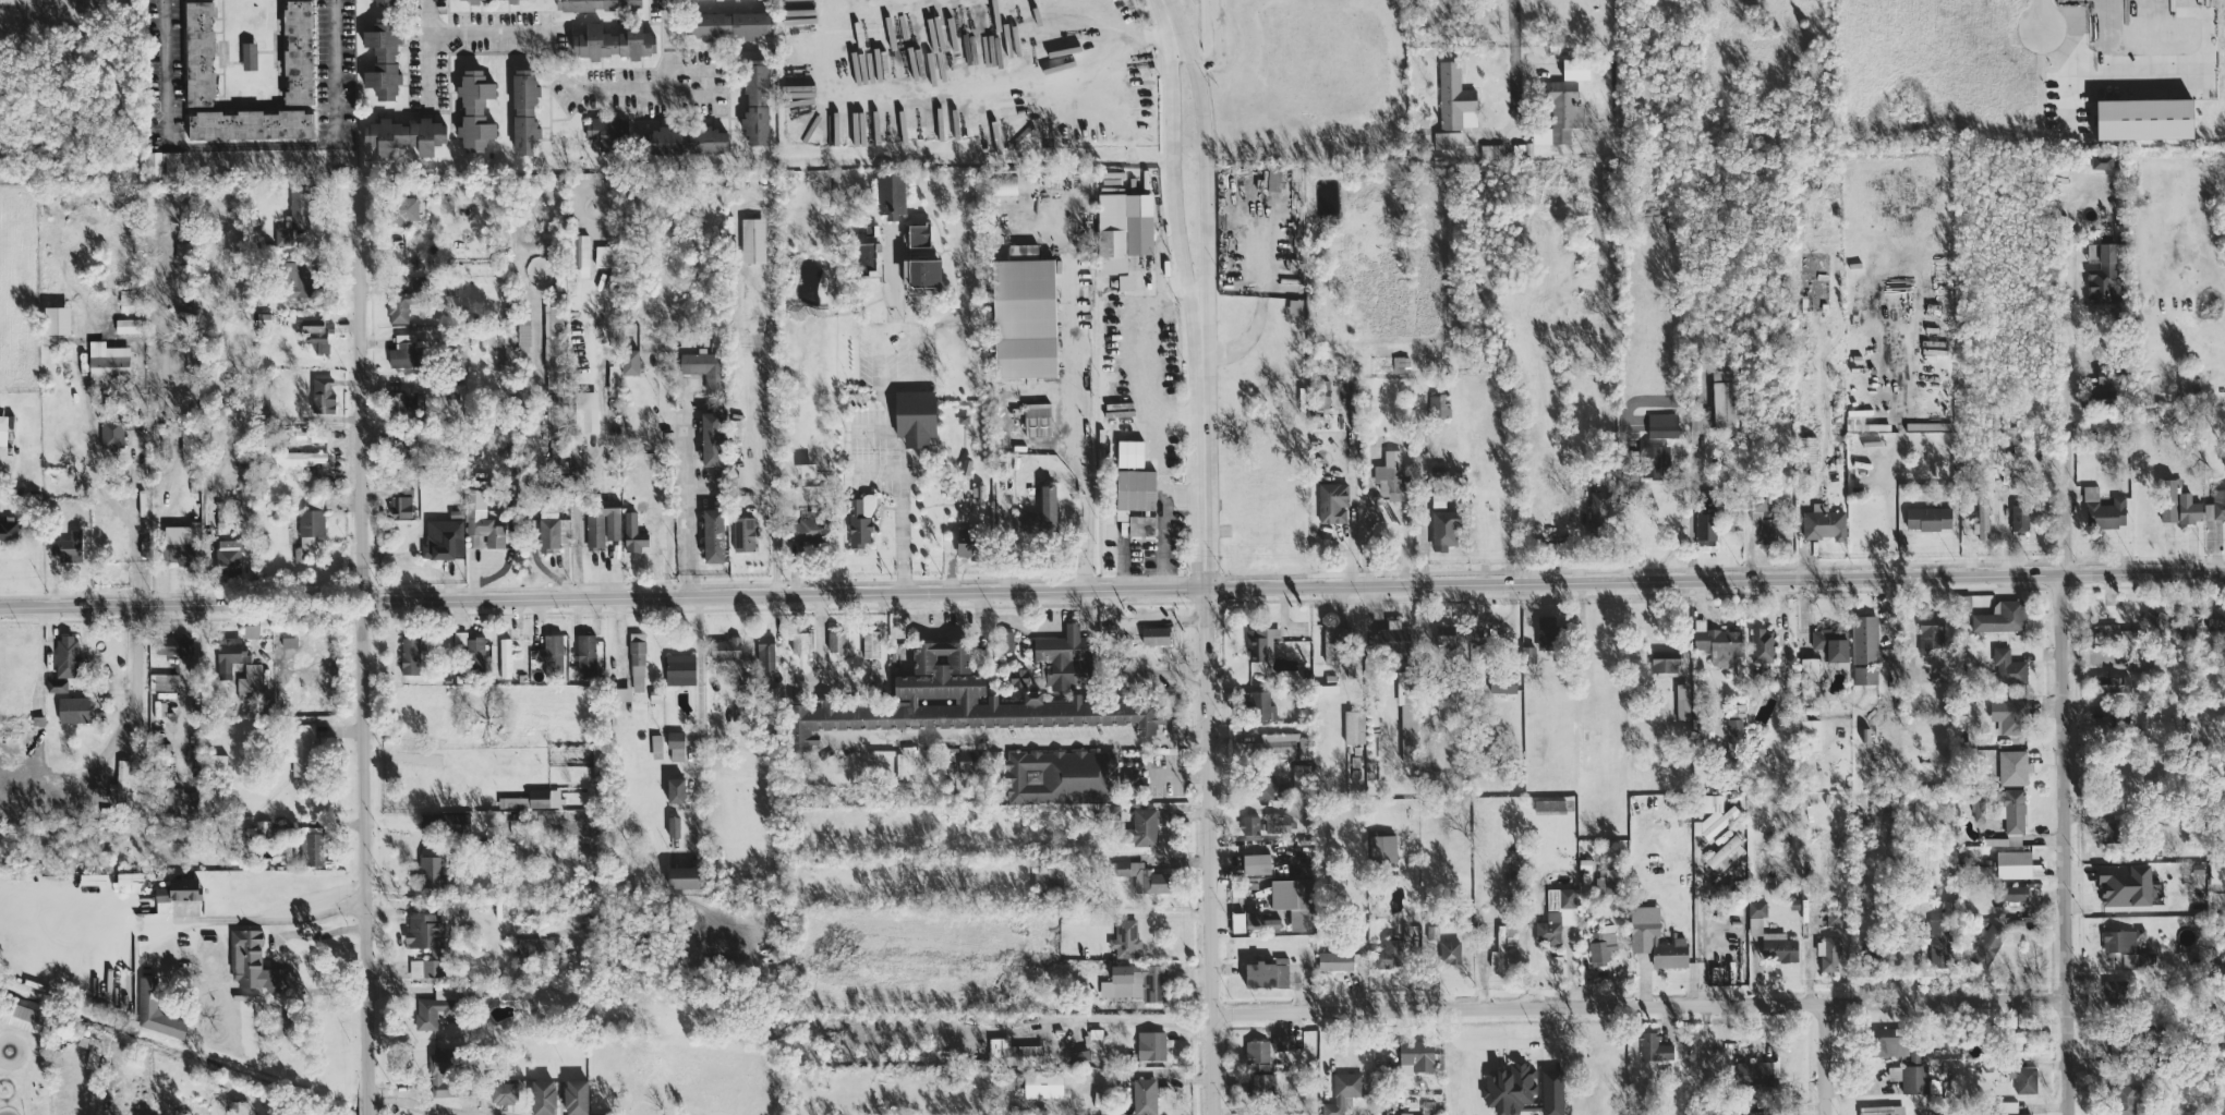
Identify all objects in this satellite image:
building: (485, 0)
building: (383, 2)
road: (1168, 12)
road: (2040, 14)
road: (436, 17)
building: (729, 24)
road: (1124, 35)
building: (612, 41)
road: (673, 48)
building: (297, 51)
building: (198, 53)
building: (249, 56)
road: (561, 58)
building: (382, 59)
road: (1515, 62)
road: (346, 70)
building: (1455, 98)
building: (754, 101)
building: (474, 110)
building: (523, 111)
building: (2144, 119)
building: (250, 124)
building: (608, 130)
building: (403, 135)
building: (1447, 140)
building: (685, 141)
road: (186, 146)
building: (1522, 149)
building: (1490, 152)
building: (2102, 160)
building: (162, 162)
road: (1202, 182)
road: (1169, 186)
building: (890, 193)
building: (402, 206)
building: (297, 210)
building: (1121, 232)
building: (918, 233)
building: (752, 239)
building: (183, 251)
building: (580, 252)
building: (603, 254)
building: (2103, 266)
building: (923, 270)
building: (301, 278)
building: (1125, 280)
building: (125, 299)
road: (1261, 299)
building: (1295, 305)
building: (397, 307)
building: (1024, 313)
building: (56, 318)
building: (125, 324)
road: (906, 327)
building: (316, 331)
building: (552, 337)
building: (407, 350)
building: (107, 357)
building: (629, 360)
building: (1401, 365)
building: (704, 367)
building: (2106, 374)
building: (2190, 384)
road: (1050, 387)
building: (2103, 390)
building: (1025, 392)
building: (1322, 392)
building: (322, 393)
road: (1138, 397)
building: (1725, 397)
building: (404, 400)
building: (1437, 402)
road: (118, 410)
building: (585, 411)
building: (915, 415)
building: (1037, 421)
building: (1930, 425)
building: (2, 428)
building: (1661, 428)
building: (114, 429)
road: (1062, 433)
building: (711, 436)
road: (1088, 445)
road: (99, 446)
building: (1806, 447)
building: (1129, 451)
building: (300, 457)
building: (1652, 461)
building: (1391, 474)
road: (1627, 474)
road: (902, 485)
building: (1134, 490)
road: (694, 494)
road: (1692, 494)
building: (2169, 498)
building: (400, 500)
building: (1332, 501)
building: (1048, 502)
building: (2215, 505)
building: (2189, 508)
building: (2103, 509)
building: (1597, 510)
building: (1766, 514)
road: (1371, 516)
building: (2019, 516)
building: (1928, 518)
building: (1983, 518)
road: (138, 519)
building: (481, 521)
building: (1030, 521)
building: (1824, 522)
road: (1896, 522)
building: (601, 523)
building: (859, 523)
building: (1141, 524)
building: (8, 526)
building: (548, 528)
building: (806, 528)
building: (1706, 528)
building: (1443, 529)
building: (191, 530)
building: (307, 530)
building: (632, 532)
building: (742, 532)
building: (712, 533)
building: (440, 536)
building: (966, 541)
building: (68, 545)
building: (178, 549)
building: (227, 555)
road: (1112, 587)
building: (2002, 616)
building: (2216, 617)
building: (2157, 623)
road: (940, 625)
road: (1053, 628)
building: (1547, 631)
building: (2105, 631)
building: (1446, 632)
building: (1931, 633)
building: (1154, 634)
building: (1864, 638)
building: (1008, 639)
building: (835, 640)
building: (801, 641)
building: (1330, 641)
building: (870, 642)
building: (1718, 642)
building: (1831, 642)
building: (171, 643)
building: (1762, 643)
road: (2064, 643)
road: (361, 645)
road: (818, 646)
building: (1260, 646)
building: (724, 647)
building: (551, 650)
building: (474, 651)
building: (585, 651)
building: (764, 651)
building: (1527, 653)
building: (66, 654)
building: (228, 654)
building: (409, 654)
building: (1064, 655)
building: (505, 656)
building: (1665, 659)
building: (637, 660)
building: (2008, 667)
road: (135, 668)
building: (679, 668)
building: (1865, 674)
building: (1018, 677)
building: (249, 679)
building: (1810, 679)
building: (162, 680)
building: (1502, 681)
building: (2114, 682)
building: (55, 683)
building: (1682, 700)
building: (958, 702)
building: (1259, 703)
building: (73, 708)
building: (1407, 713)
building: (2008, 715)
road: (699, 719)
building: (1354, 726)
road: (1207, 730)
building: (1733, 732)
building: (1811, 734)
building: (1283, 742)
building: (676, 744)
building: (656, 746)
building: (301, 749)
building: (966, 759)
building: (216, 761)
building: (2012, 766)
building: (1060, 775)
building: (119, 783)
building: (1262, 785)
building: (675, 789)
building: (180, 797)
building: (544, 797)
building: (512, 801)
building: (1549, 804)
building: (1714, 814)
building: (1249, 823)
building: (1279, 823)
building: (673, 825)
building: (1144, 826)
building: (1382, 847)
building: (311, 848)
building: (1726, 853)
building: (1256, 862)
building: (2014, 863)
building: (430, 870)
building: (2217, 871)
building: (682, 875)
building: (1145, 876)
building: (1039, 878)
building: (2125, 883)
building: (179, 888)
building: (2014, 892)
building: (1292, 900)
building: (1557, 913)
building: (1756, 916)
building: (1834, 917)
building: (1237, 921)
road: (263, 923)
road: (1700, 923)
building: (2017, 923)
building: (421, 930)
building: (1125, 937)
building: (1655, 937)
building: (2121, 938)
building: (1601, 943)
building: (1938, 943)
building: (1987, 945)
building: (1778, 946)
building: (540, 948)
building: (1499, 948)
building: (1450, 950)
building: (1828, 953)
building: (1388, 954)
building: (1335, 960)
building: (252, 961)
building: (424, 967)
building: (1266, 973)
building: (1136, 981)
road: (1641, 1003)
building: (435, 1006)
building: (154, 1008)
building: (1887, 1041)
building: (1280, 1042)
building: (1151, 1044)
building: (1654, 1046)
building: (1257, 1050)
river: (184, 1051)
building: (1416, 1055)
road: (1822, 1056)
building: (442, 1059)
building: (1753, 1071)
building: (1911, 1072)
building: (2023, 1078)
building: (1262, 1081)
building: (1042, 1083)
building: (443, 1087)
building: (1509, 1088)
building: (1342, 1091)
building: (1552, 1091)
building: (503, 1092)
building: (1145, 1095)
building: (542, 1096)
building: (575, 1096)
building: (237, 1107)
building: (2008, 1107)
road: (370, 1110)
road: (431, 1110)
building: (1882, 1110)
building: (1754, 1113)

